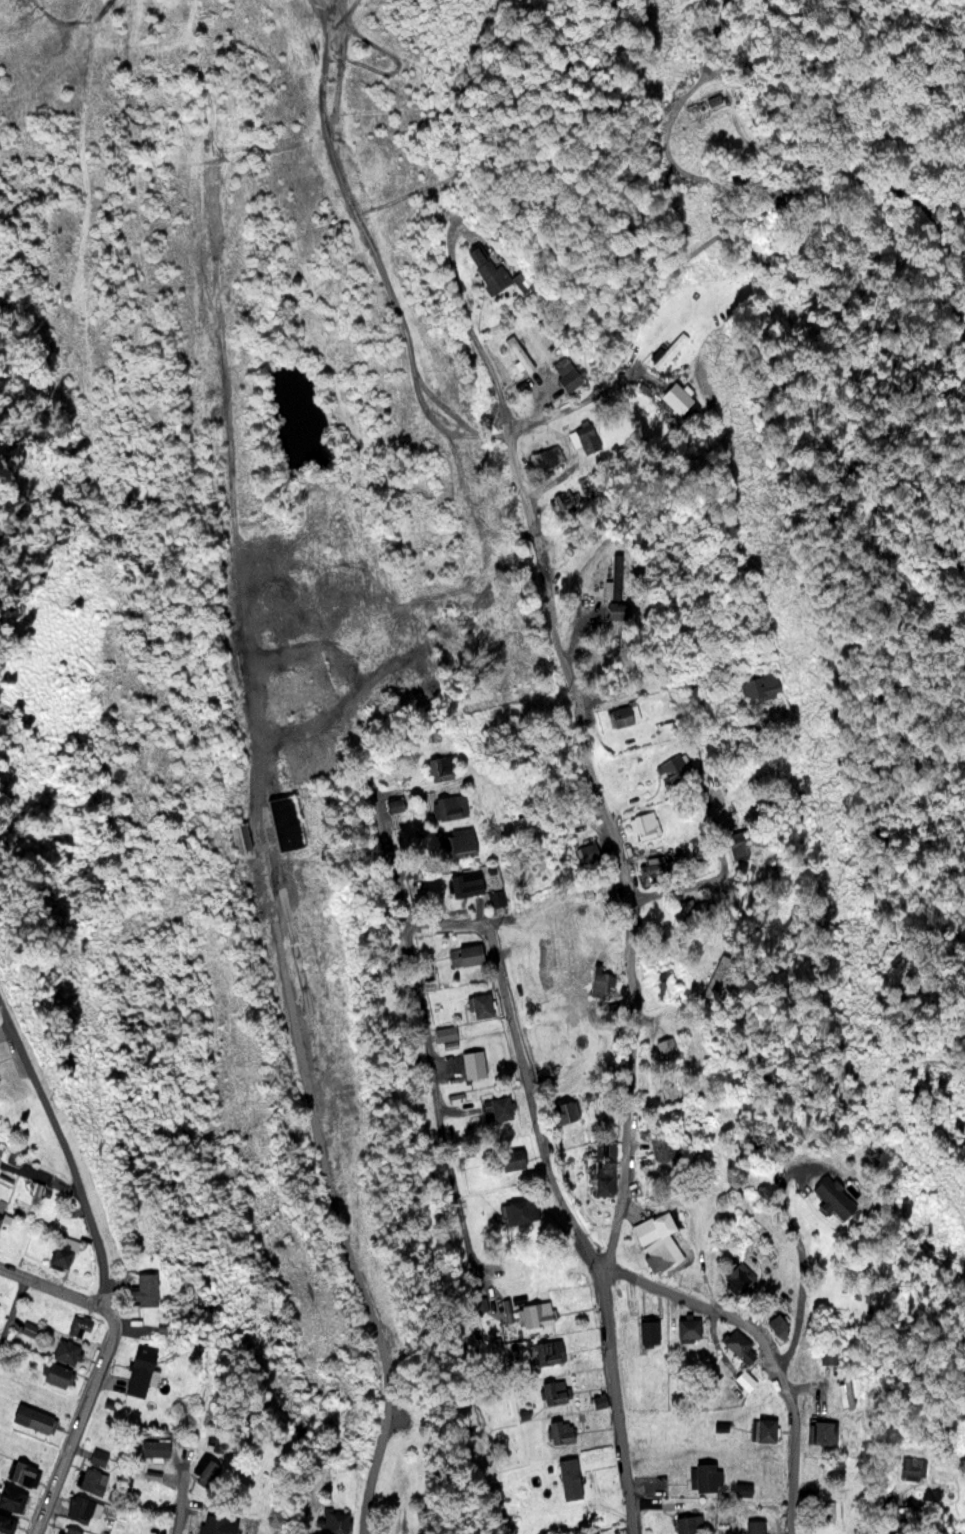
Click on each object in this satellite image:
building: (714, 99)
building: (496, 277)
road: (391, 296)
building: (668, 349)
building: (519, 351)
building: (567, 372)
building: (586, 437)
building: (547, 456)
building: (617, 590)
building: (760, 684)
building: (403, 688)
building: (622, 712)
road: (587, 714)
building: (433, 733)
building: (439, 765)
building: (672, 767)
building: (451, 805)
building: (285, 820)
building: (644, 823)
building: (241, 835)
building: (460, 841)
building: (737, 845)
road: (718, 861)
building: (661, 864)
building: (464, 881)
building: (607, 889)
building: (498, 897)
building: (556, 907)
building: (697, 910)
building: (466, 954)
building: (716, 974)
building: (525, 975)
building: (598, 980)
building: (665, 984)
building: (481, 1004)
building: (444, 1032)
building: (668, 1046)
building: (473, 1063)
road: (26, 1076)
road: (542, 1101)
building: (498, 1106)
building: (565, 1109)
building: (672, 1152)
road: (325, 1153)
building: (509, 1157)
building: (604, 1165)
building: (833, 1196)
building: (522, 1210)
building: (1, 1214)
building: (660, 1238)
building: (61, 1250)
building: (737, 1277)
building: (143, 1288)
road: (51, 1297)
building: (535, 1313)
road: (13, 1319)
building: (78, 1324)
building: (778, 1325)
building: (27, 1327)
building: (688, 1327)
road: (112, 1333)
building: (648, 1333)
road: (778, 1343)
building: (739, 1345)
building: (66, 1351)
building: (549, 1351)
building: (830, 1352)
building: (138, 1371)
building: (56, 1374)
building: (746, 1380)
building: (555, 1391)
building: (848, 1391)
building: (32, 1418)
building: (766, 1429)
building: (561, 1430)
building: (822, 1431)
building: (154, 1447)
building: (99, 1456)
building: (912, 1465)
building: (23, 1472)
building: (207, 1472)
building: (706, 1476)
building: (93, 1480)
building: (12, 1497)
road: (185, 1499)
road: (894, 1506)
building: (85, 1508)
building: (336, 1521)
building: (7, 1523)
building: (689, 1523)
building: (216, 1524)
building: (755, 1525)
building: (70, 1530)
building: (593, 1533)

